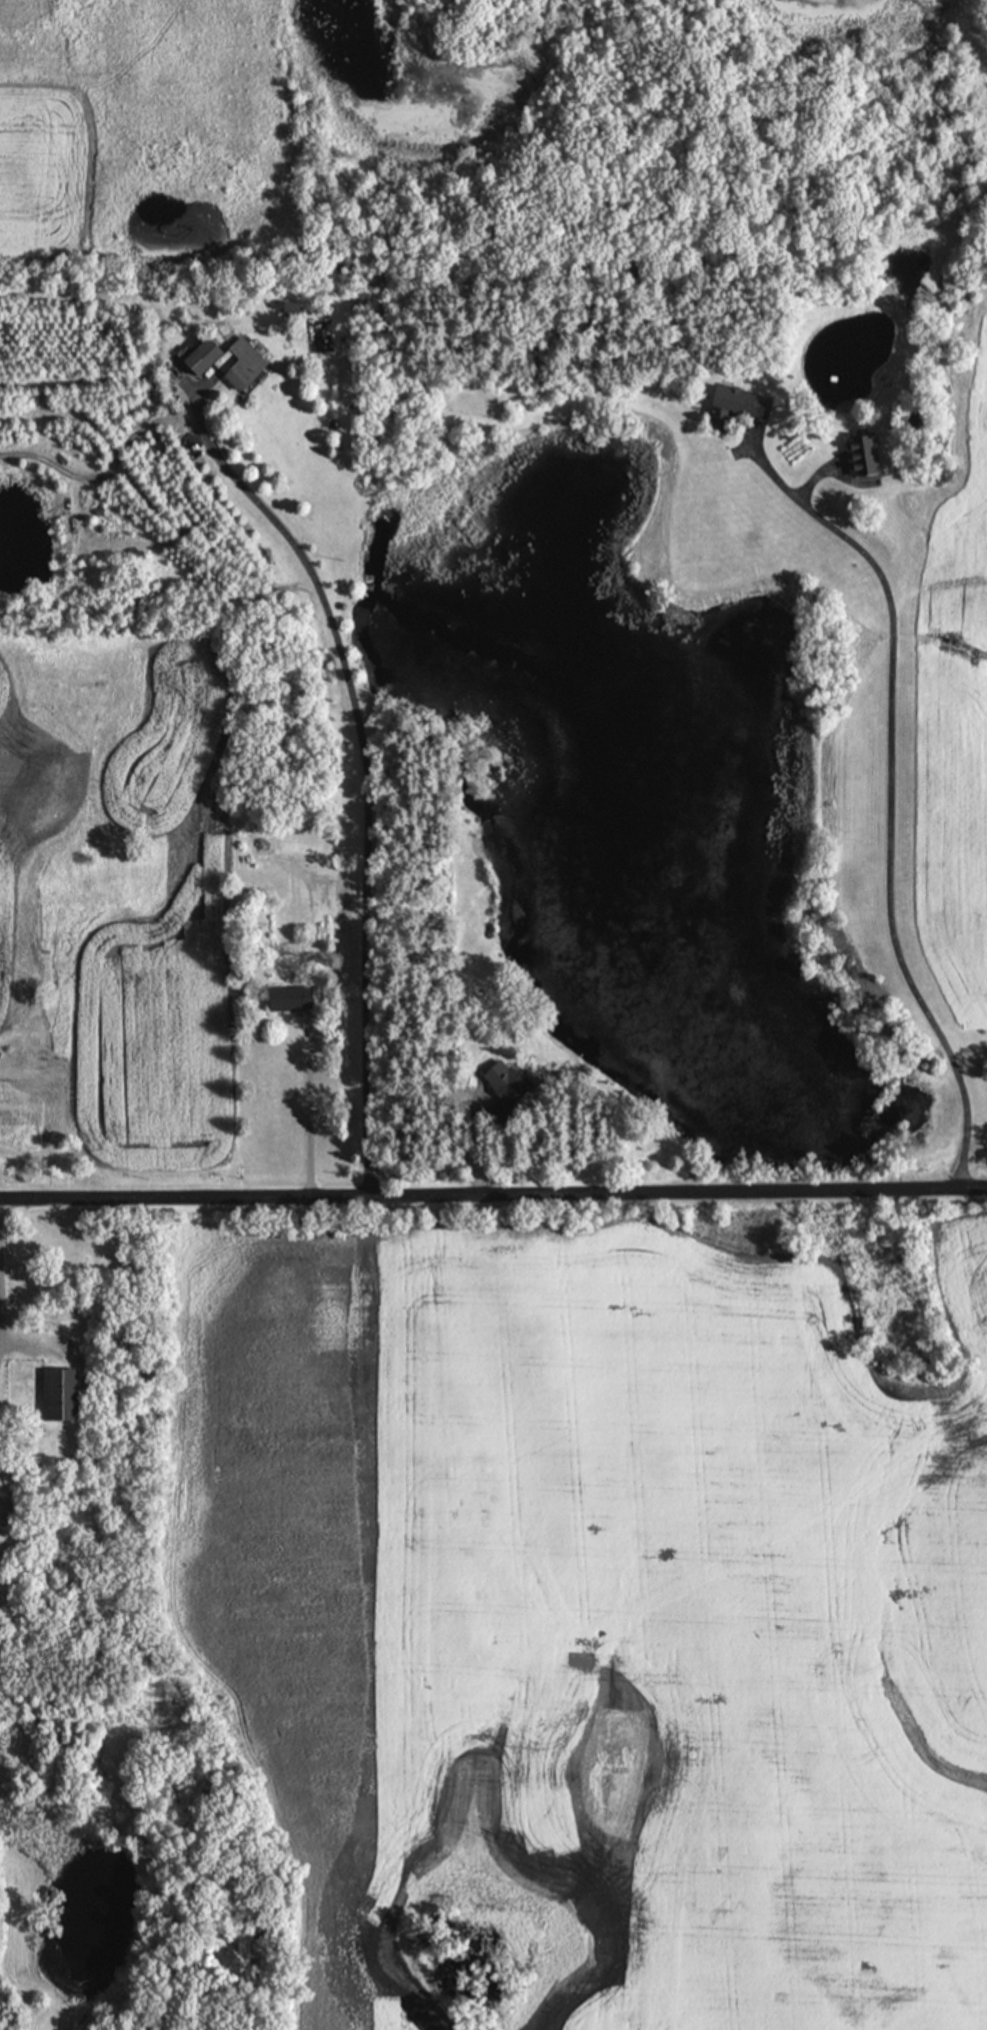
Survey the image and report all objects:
building: (215, 356)
building: (255, 365)
building: (743, 403)
building: (867, 456)
road: (364, 754)
road: (889, 825)
building: (296, 998)
road: (493, 1188)
road: (4, 1306)
building: (70, 1393)

